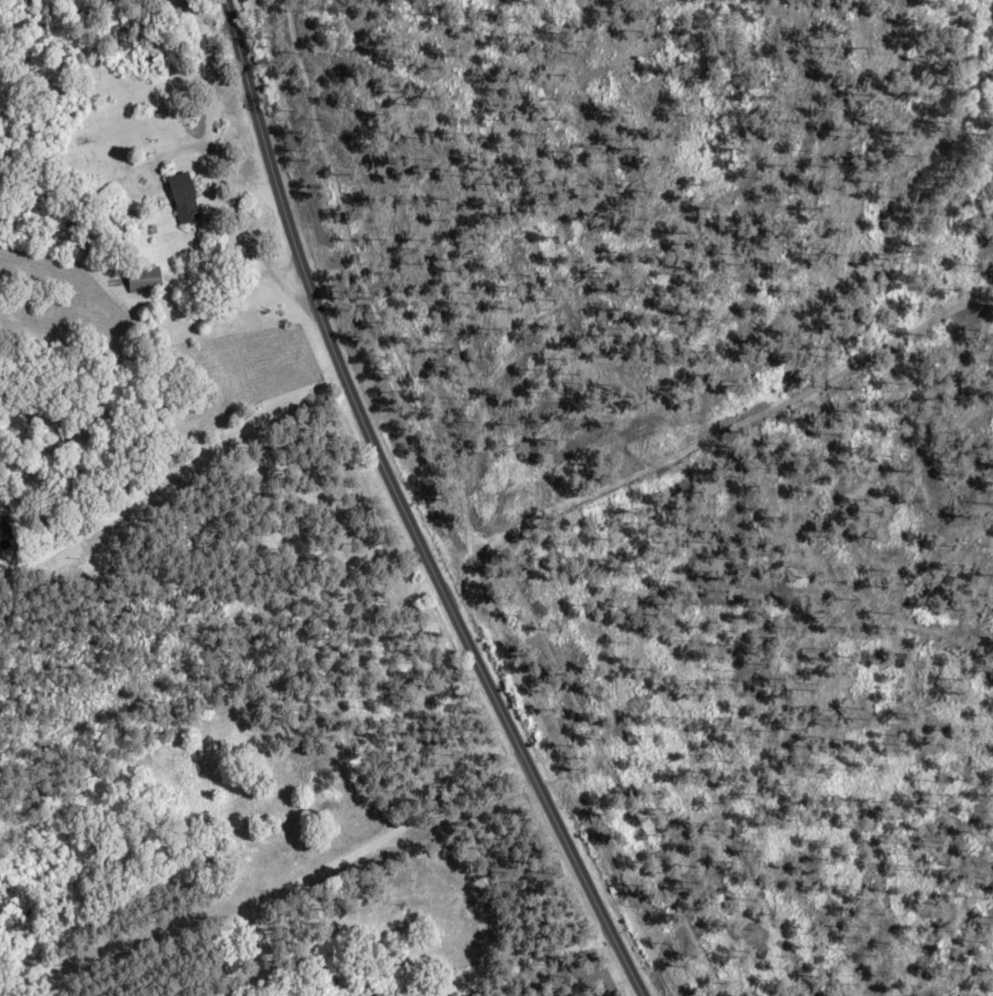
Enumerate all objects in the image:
building: (184, 198)
building: (144, 279)
road: (401, 510)
road: (308, 877)
road: (544, 958)

